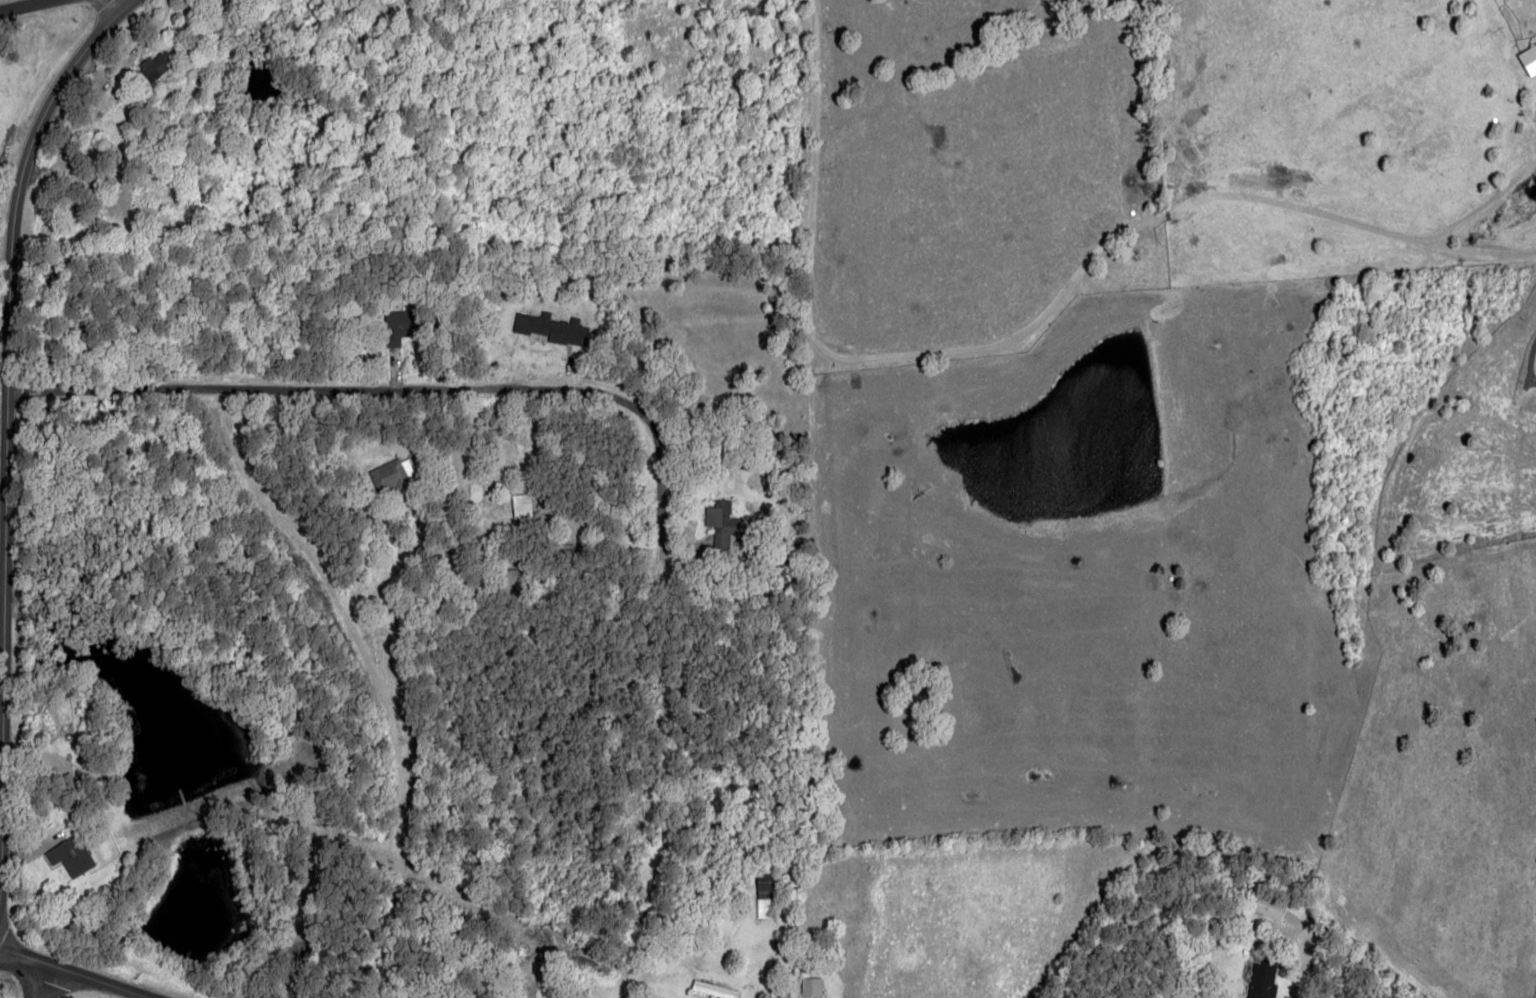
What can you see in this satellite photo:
road: (22, 4)
building: (1528, 57)
building: (152, 67)
road: (12, 217)
building: (397, 326)
building: (551, 327)
road: (490, 387)
building: (395, 478)
building: (521, 506)
building: (717, 512)
road: (308, 585)
building: (69, 856)
road: (477, 860)
building: (1269, 906)
road: (70, 973)
building: (1260, 981)
road: (41, 982)
building: (811, 987)
building: (713, 989)

